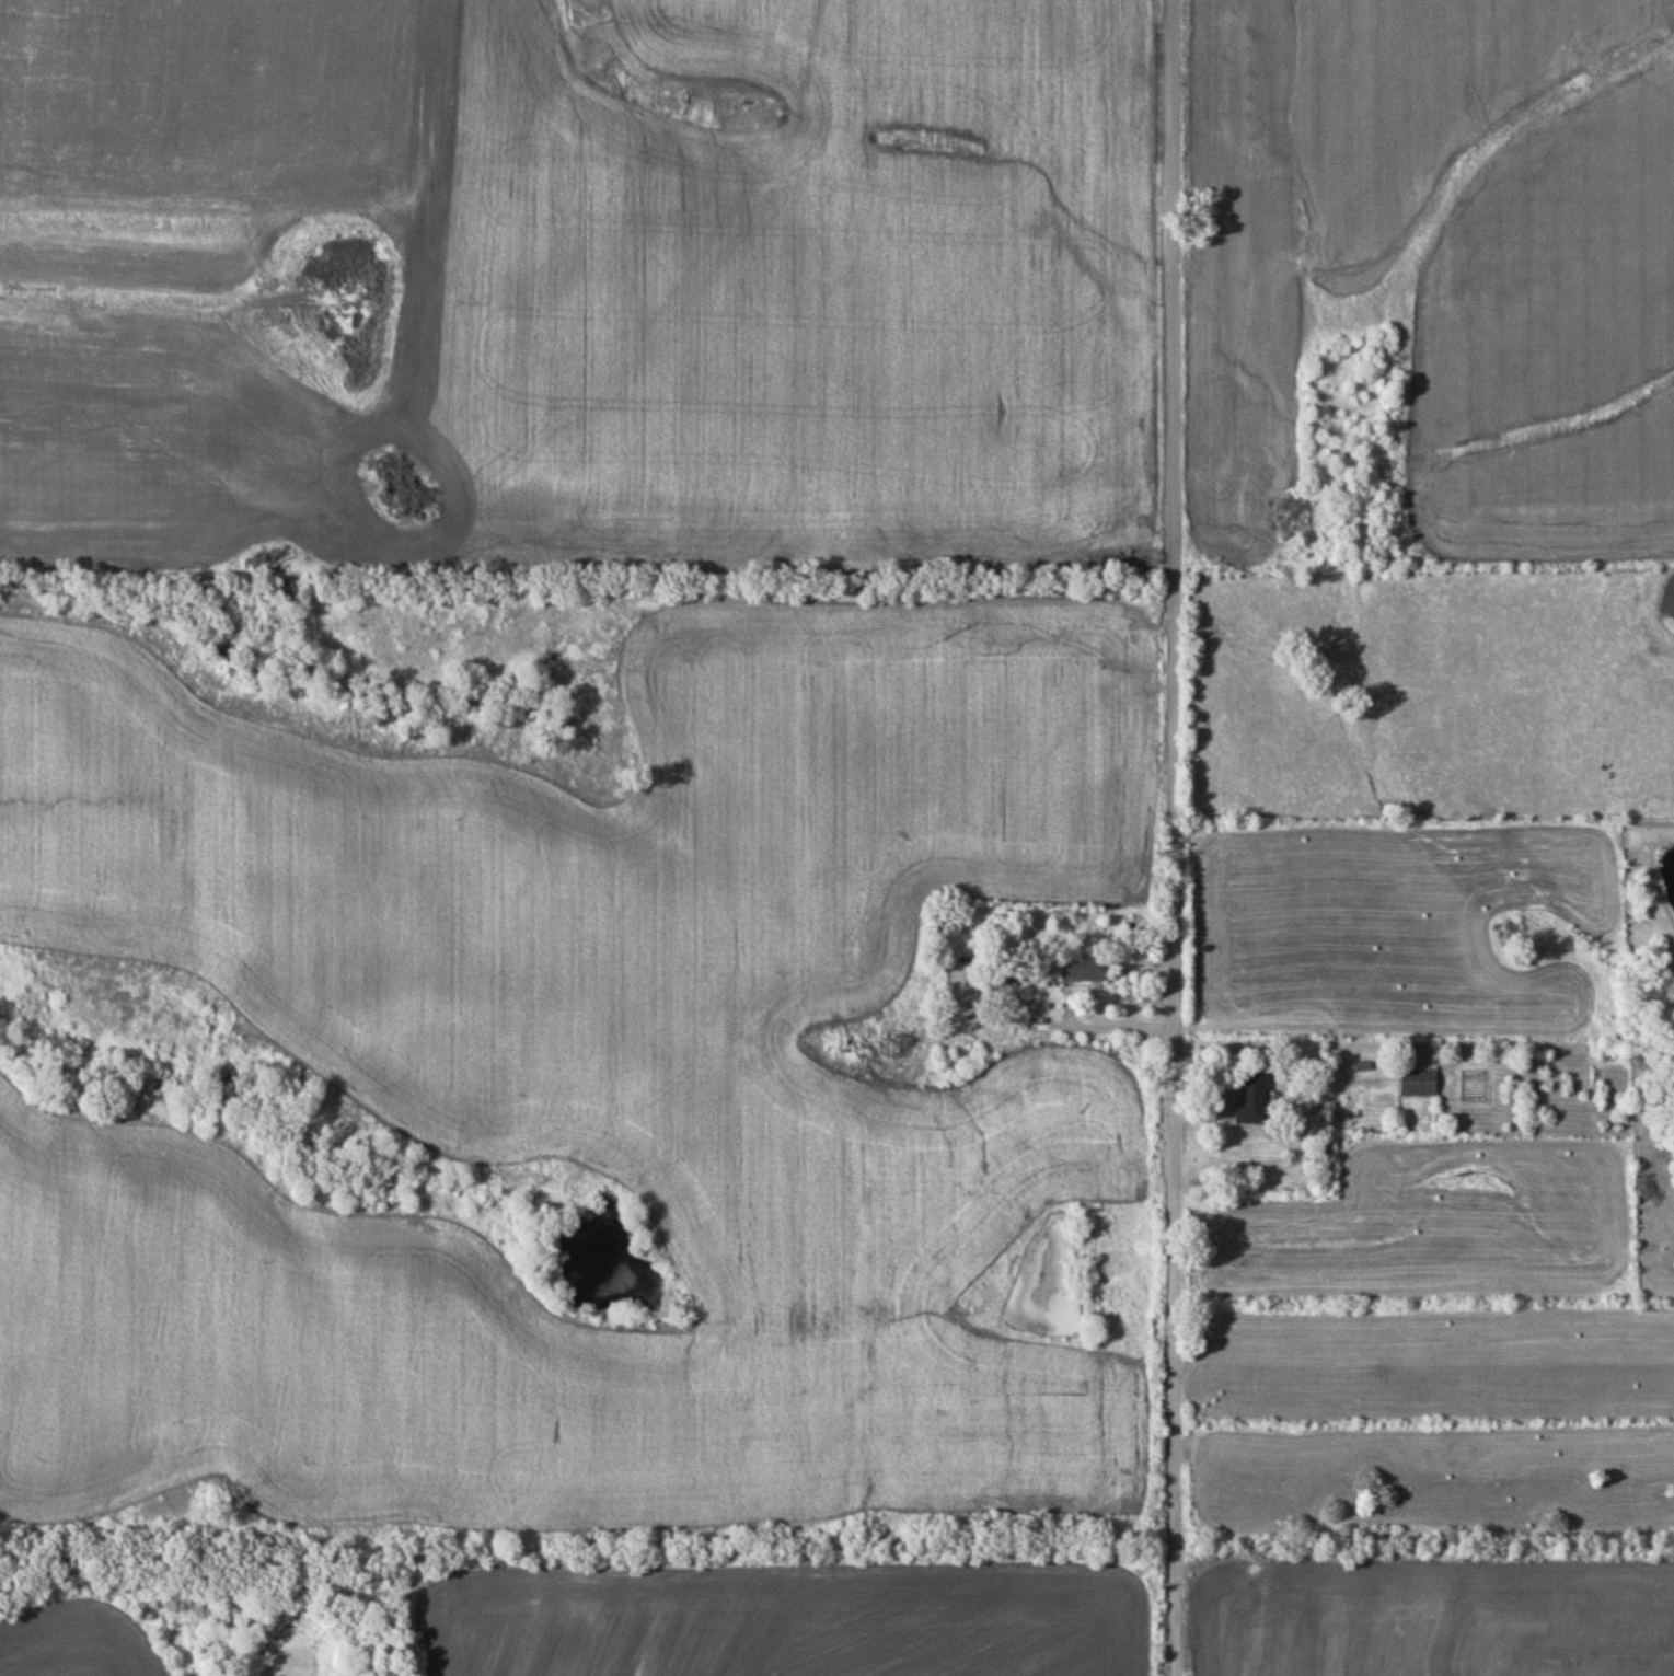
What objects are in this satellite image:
road: (1171, 837)
building: (1084, 970)
road: (1234, 1018)
building: (896, 1044)
building: (1417, 1083)
building: (1250, 1098)

